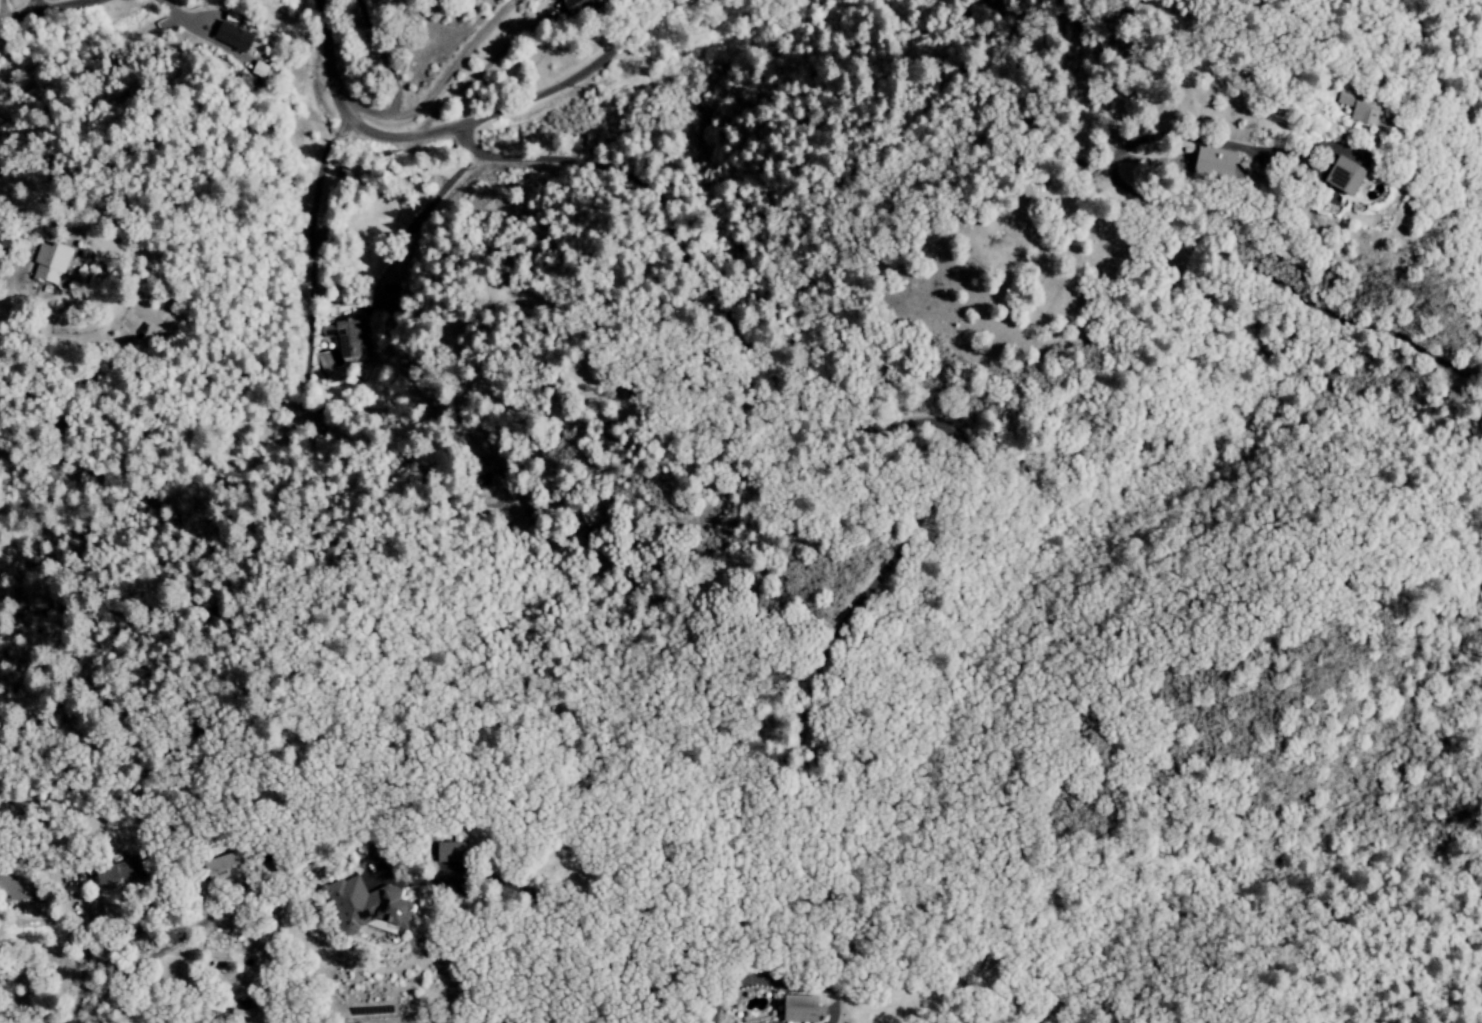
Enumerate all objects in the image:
road: (34, 6)
building: (573, 6)
road: (2, 9)
building: (230, 37)
road: (379, 54)
road: (324, 59)
road: (484, 65)
building: (259, 70)
road: (435, 81)
road: (518, 99)
building: (1353, 108)
building: (1207, 165)
building: (1338, 177)
building: (1021, 191)
building: (48, 264)
road: (351, 302)
building: (448, 852)
building: (218, 869)
building: (112, 874)
building: (8, 890)
building: (362, 907)
road: (109, 1005)
building: (799, 1010)

